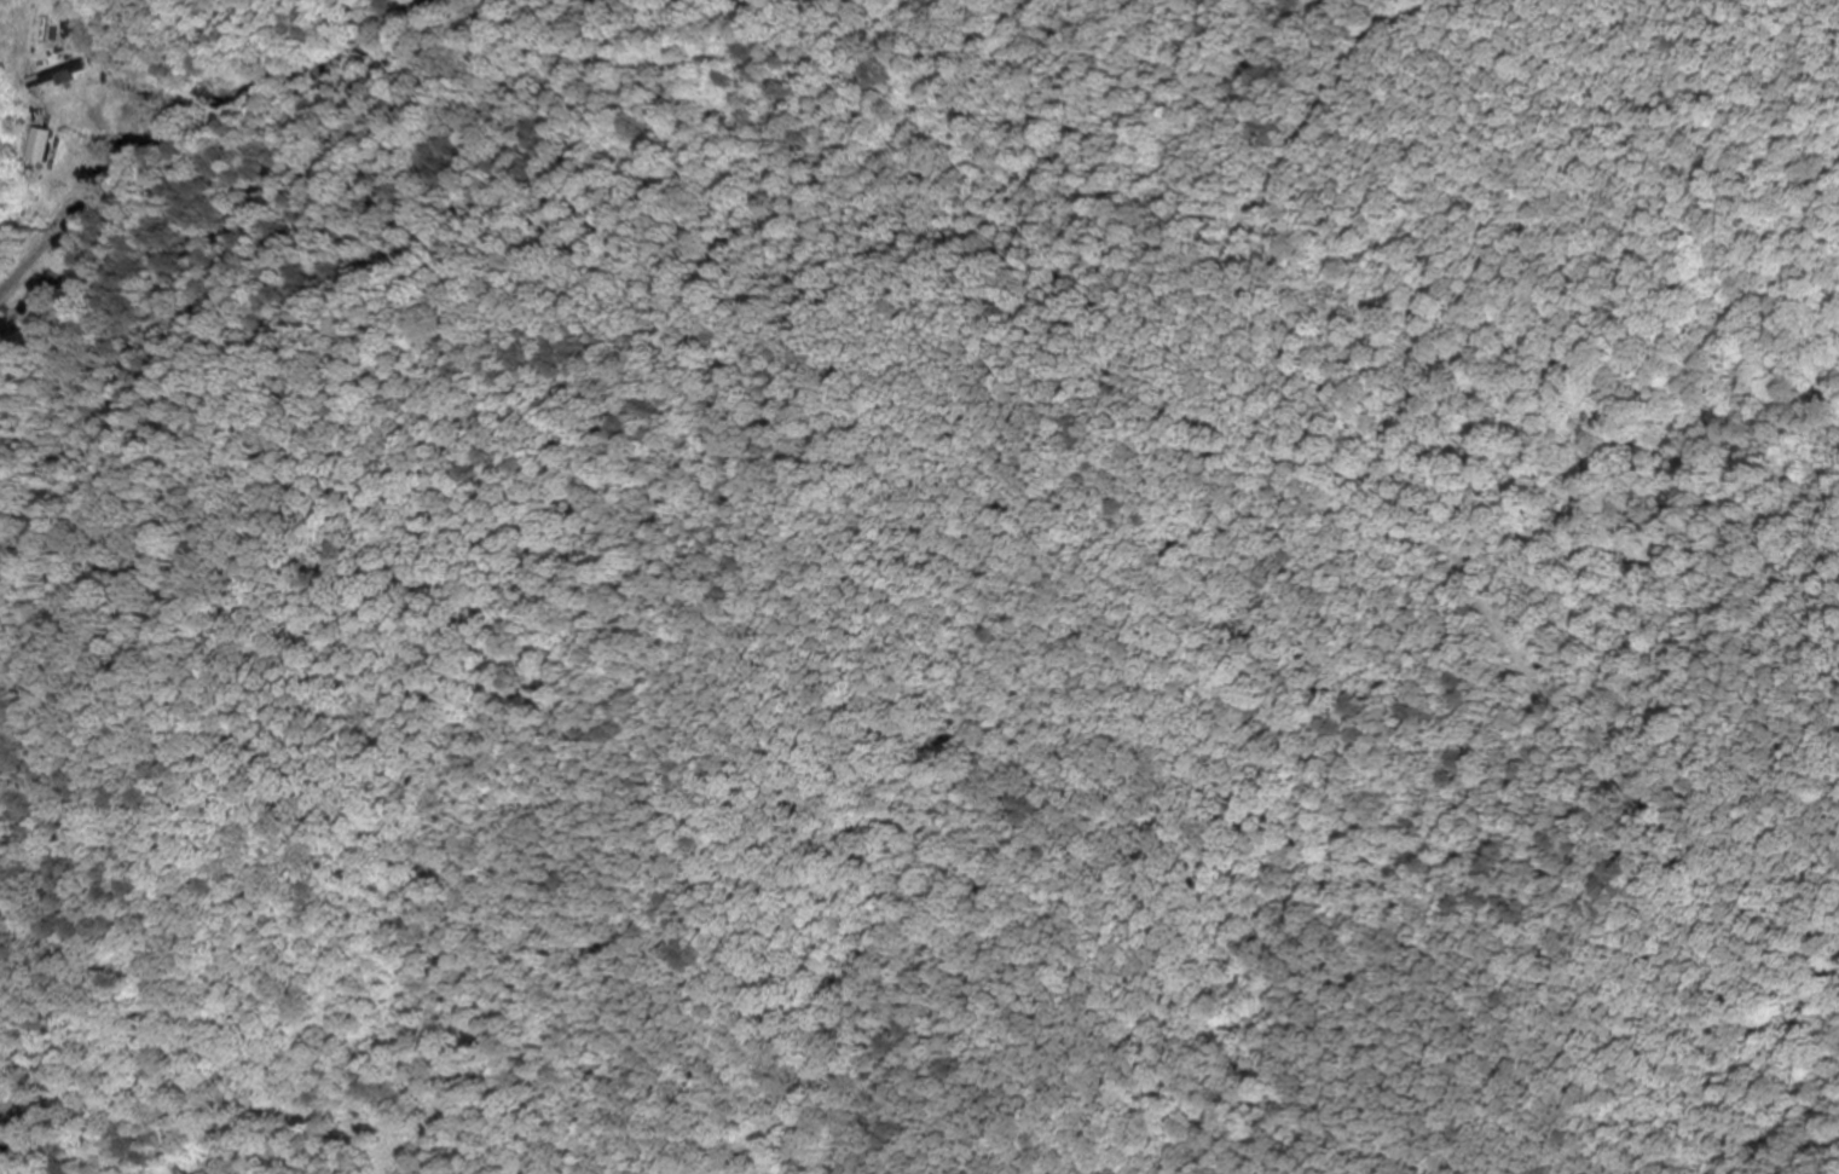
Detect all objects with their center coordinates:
road: (196, 116)
building: (40, 145)
building: (35, 295)

